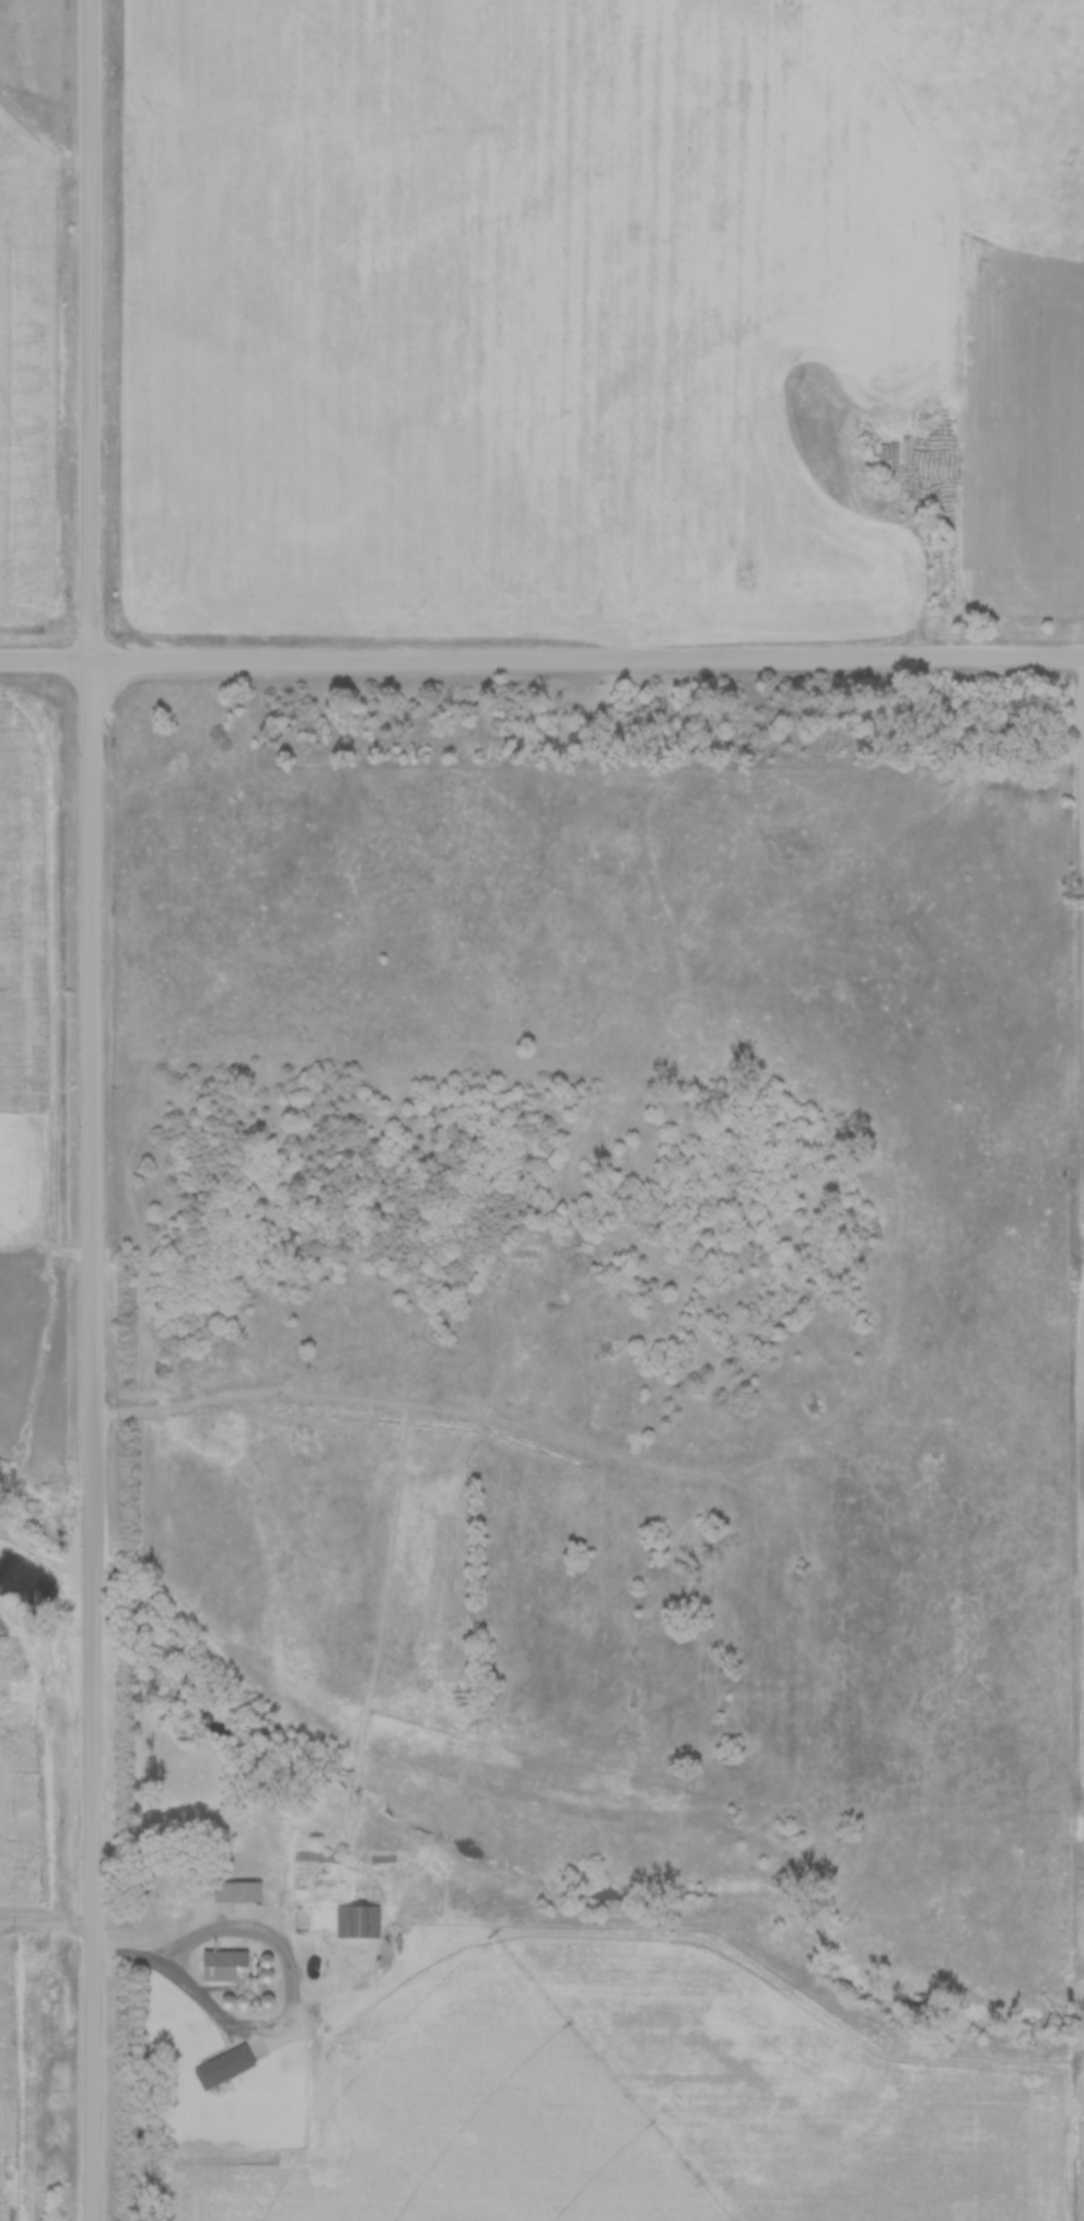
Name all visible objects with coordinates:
road: (541, 659)
road: (93, 1109)
building: (1079, 1827)
building: (234, 1889)
building: (355, 1920)
road: (46, 1922)
road: (272, 1941)
road: (129, 1955)
building: (221, 2066)
crop: (1083, 2138)

